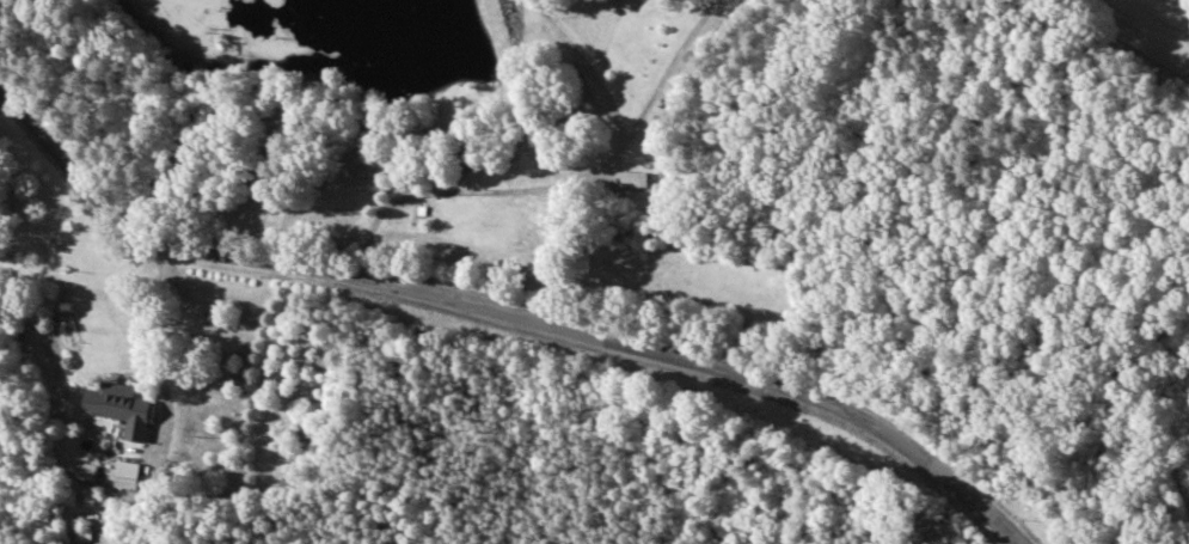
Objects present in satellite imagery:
building: (631, 181)
road: (515, 305)
building: (117, 404)
building: (90, 473)

